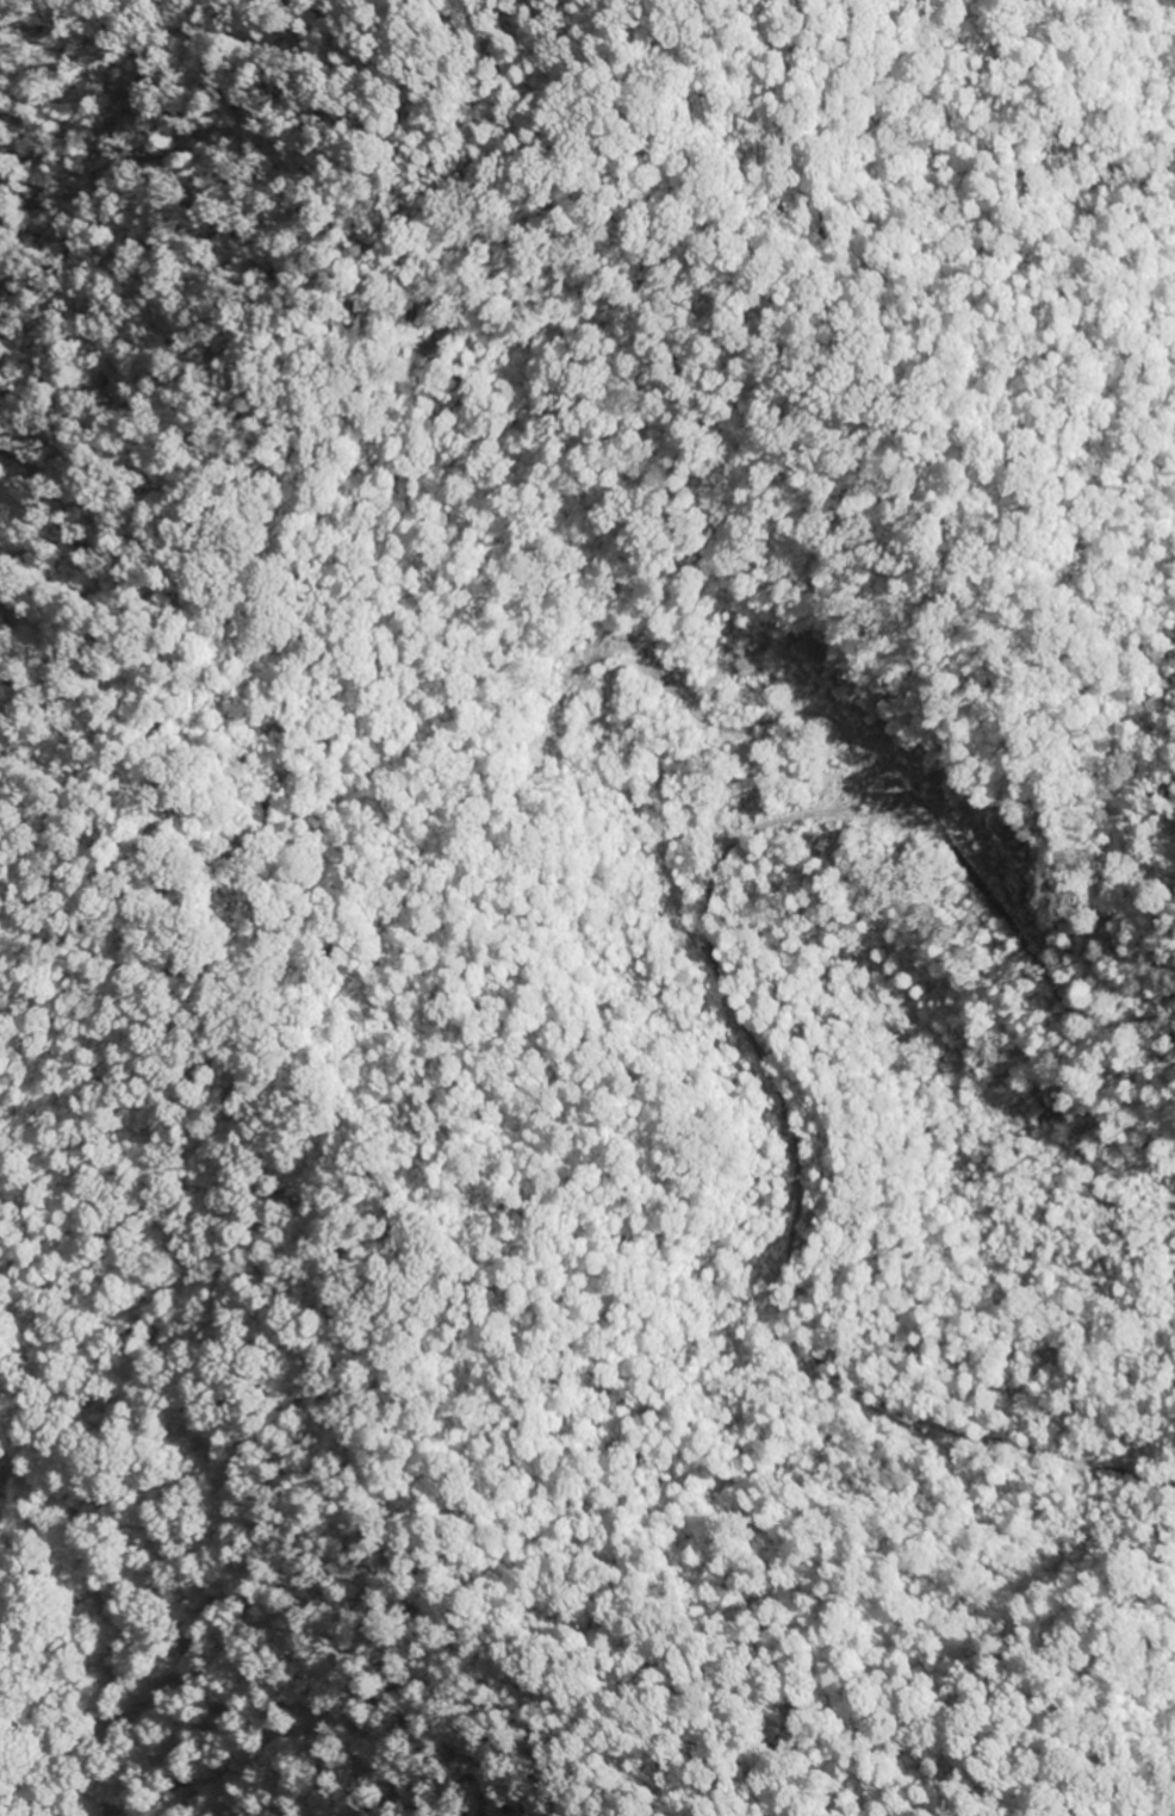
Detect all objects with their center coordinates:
road: (773, 984)

